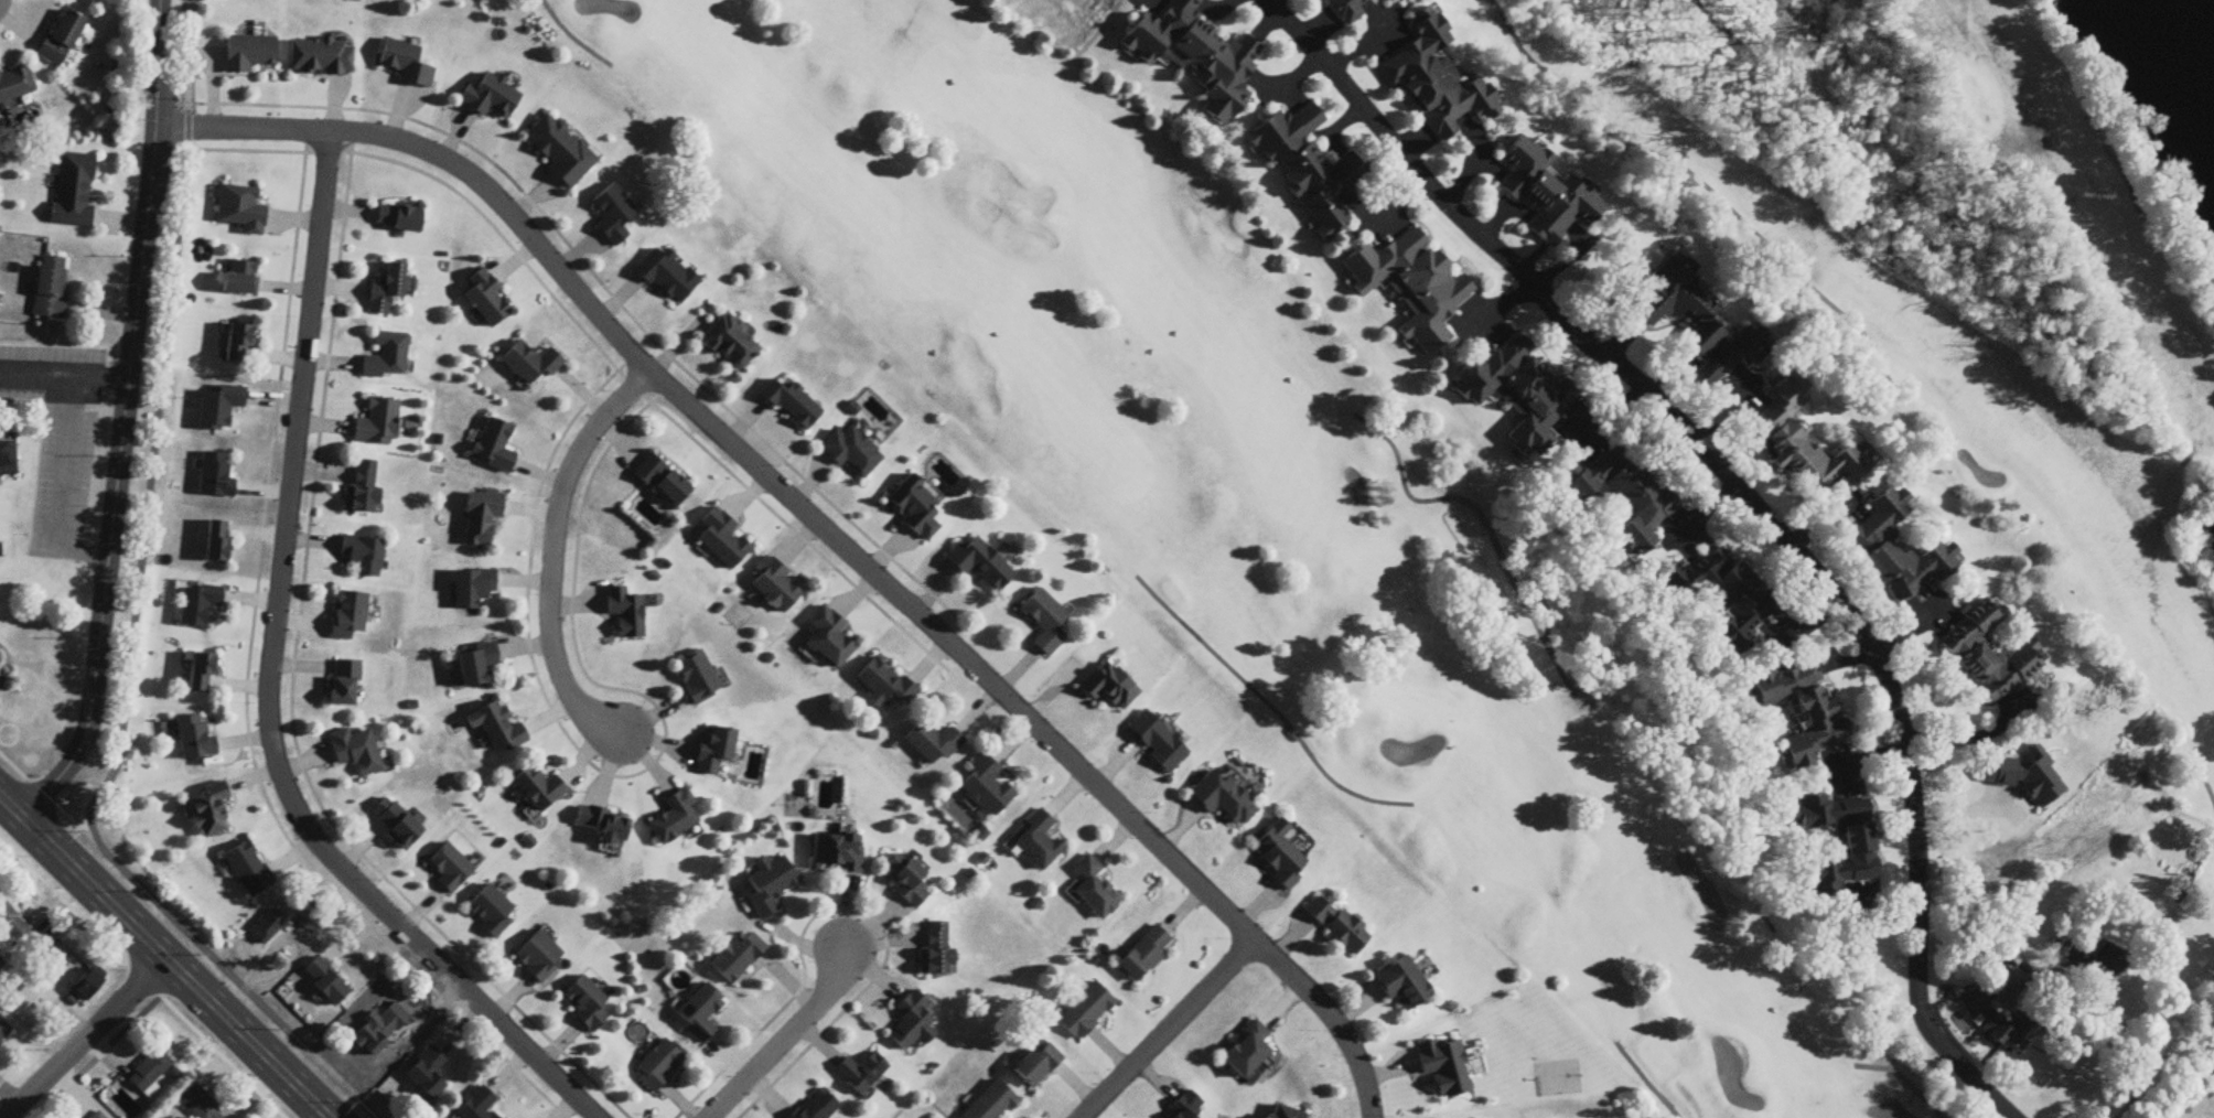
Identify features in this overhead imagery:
building: (1388, 0)
building: (1347, 10)
river: (2204, 18)
building: (61, 39)
building: (248, 53)
building: (1197, 56)
building: (321, 57)
building: (406, 65)
building: (1437, 79)
building: (15, 85)
building: (492, 97)
building: (561, 151)
building: (1311, 172)
building: (73, 191)
building: (1548, 193)
building: (241, 209)
building: (614, 215)
building: (399, 219)
building: (667, 276)
building: (240, 279)
building: (1414, 286)
building: (50, 289)
building: (387, 290)
building: (488, 302)
building: (1699, 323)
building: (731, 343)
building: (238, 344)
building: (389, 358)
building: (531, 363)
parking lot: (51, 377)
road: (64, 380)
building: (1519, 393)
building: (793, 404)
road: (123, 420)
building: (377, 424)
building: (495, 447)
building: (1805, 447)
building: (852, 451)
building: (6, 458)
park: (1599, 472)
building: (216, 476)
building: (663, 482)
building: (363, 487)
parking lot: (62, 490)
road: (55, 495)
building: (1623, 497)
road: (1749, 503)
building: (915, 508)
building: (482, 517)
road: (818, 526)
building: (722, 540)
building: (217, 542)
road: (555, 551)
building: (1900, 551)
building: (363, 557)
building: (980, 566)
building: (473, 590)
building: (776, 590)
building: (1722, 592)
building: (198, 605)
building: (626, 613)
building: (350, 616)
building: (1045, 622)
building: (830, 639)
building: (1990, 653)
building: (477, 667)
building: (202, 675)
building: (698, 679)
building: (345, 685)
building: (885, 687)
building: (1109, 688)
road: (268, 690)
building: (1804, 712)
building: (497, 729)
road: (1968, 738)
building: (195, 740)
building: (1157, 742)
building: (934, 743)
building: (716, 750)
building: (357, 753)
building: (987, 787)
building: (539, 789)
building: (1223, 800)
building: (211, 811)
building: (675, 819)
building: (397, 824)
building: (605, 827)
building: (1038, 841)
building: (1841, 843)
building: (837, 854)
building: (1279, 856)
building: (451, 870)
building: (249, 871)
building: (907, 881)
building: (770, 885)
building: (1094, 890)
building: (491, 913)
building: (1339, 926)
building: (270, 927)
building: (17, 929)
road: (180, 942)
building: (936, 949)
building: (1144, 955)
road: (163, 957)
building: (540, 958)
building: (738, 959)
building: (2102, 961)
road: (147, 974)
building: (326, 982)
building: (1404, 986)
building: (88, 987)
building: (587, 1006)
building: (702, 1012)
building: (1085, 1012)
building: (912, 1024)
building: (2001, 1024)
building: (380, 1030)
road: (1169, 1030)
building: (4, 1032)
road: (86, 1039)
road: (780, 1044)
road: (2142, 1051)
building: (1247, 1052)
building: (1038, 1065)
building: (659, 1067)
building: (428, 1074)
building: (861, 1074)
building: (150, 1075)
building: (992, 1104)
road: (2202, 1105)
building: (198, 1106)
building: (479, 1106)
building: (817, 1106)
building: (1184, 1108)
building: (1285, 1114)
building: (101, 1115)

